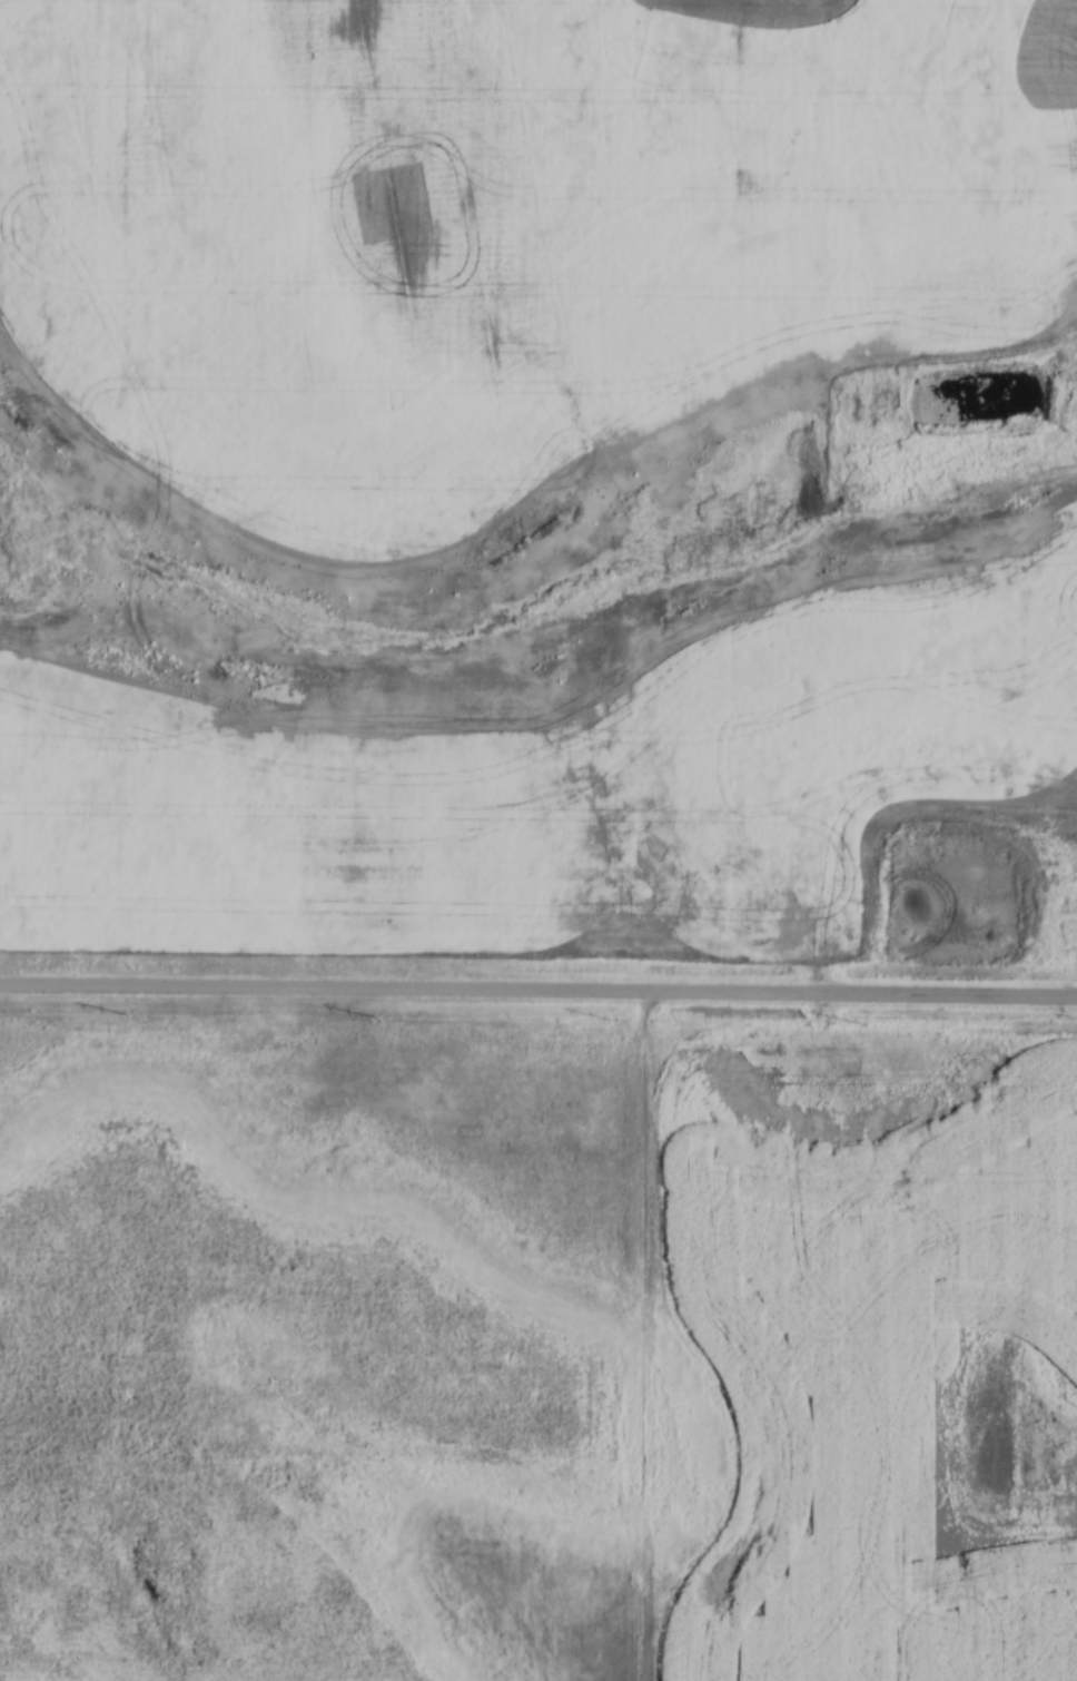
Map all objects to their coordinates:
road: (538, 991)

